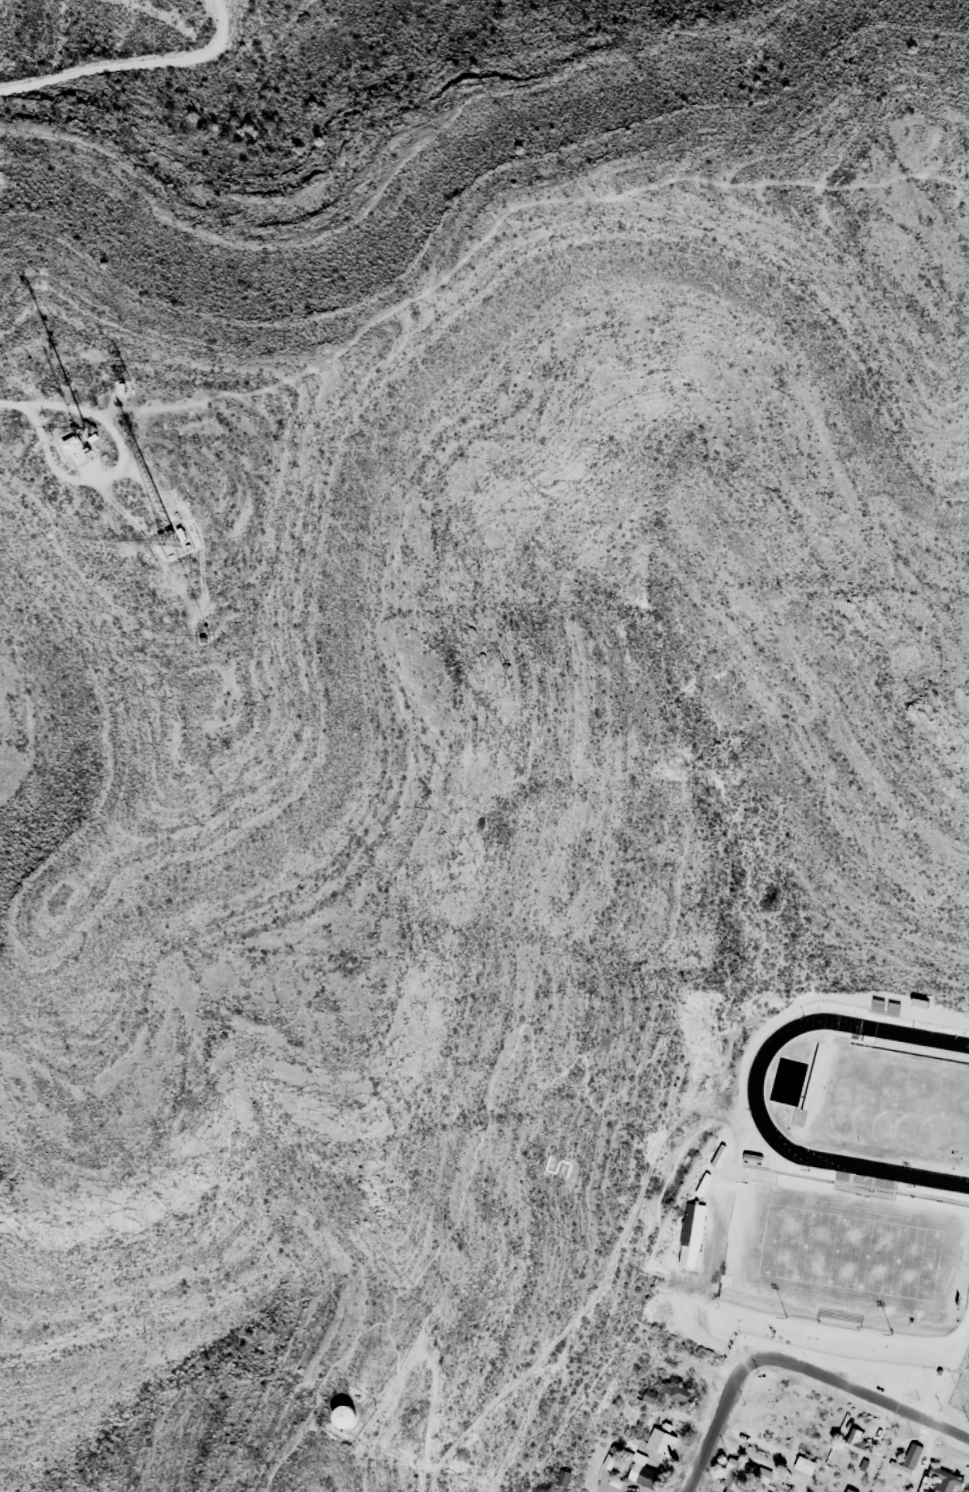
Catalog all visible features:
road: (130, 62)
road: (3, 401)
road: (116, 466)
track: (865, 1096)
road: (609, 1097)
building: (691, 1235)
park: (849, 1250)
road: (862, 1392)
road: (316, 1394)
road: (382, 1402)
building: (344, 1415)
storage tank: (344, 1415)
road: (717, 1422)
building: (662, 1440)
building: (856, 1442)
building: (631, 1444)
building: (913, 1455)
building: (644, 1476)
building: (734, 1476)
building: (563, 1478)
building: (944, 1480)

